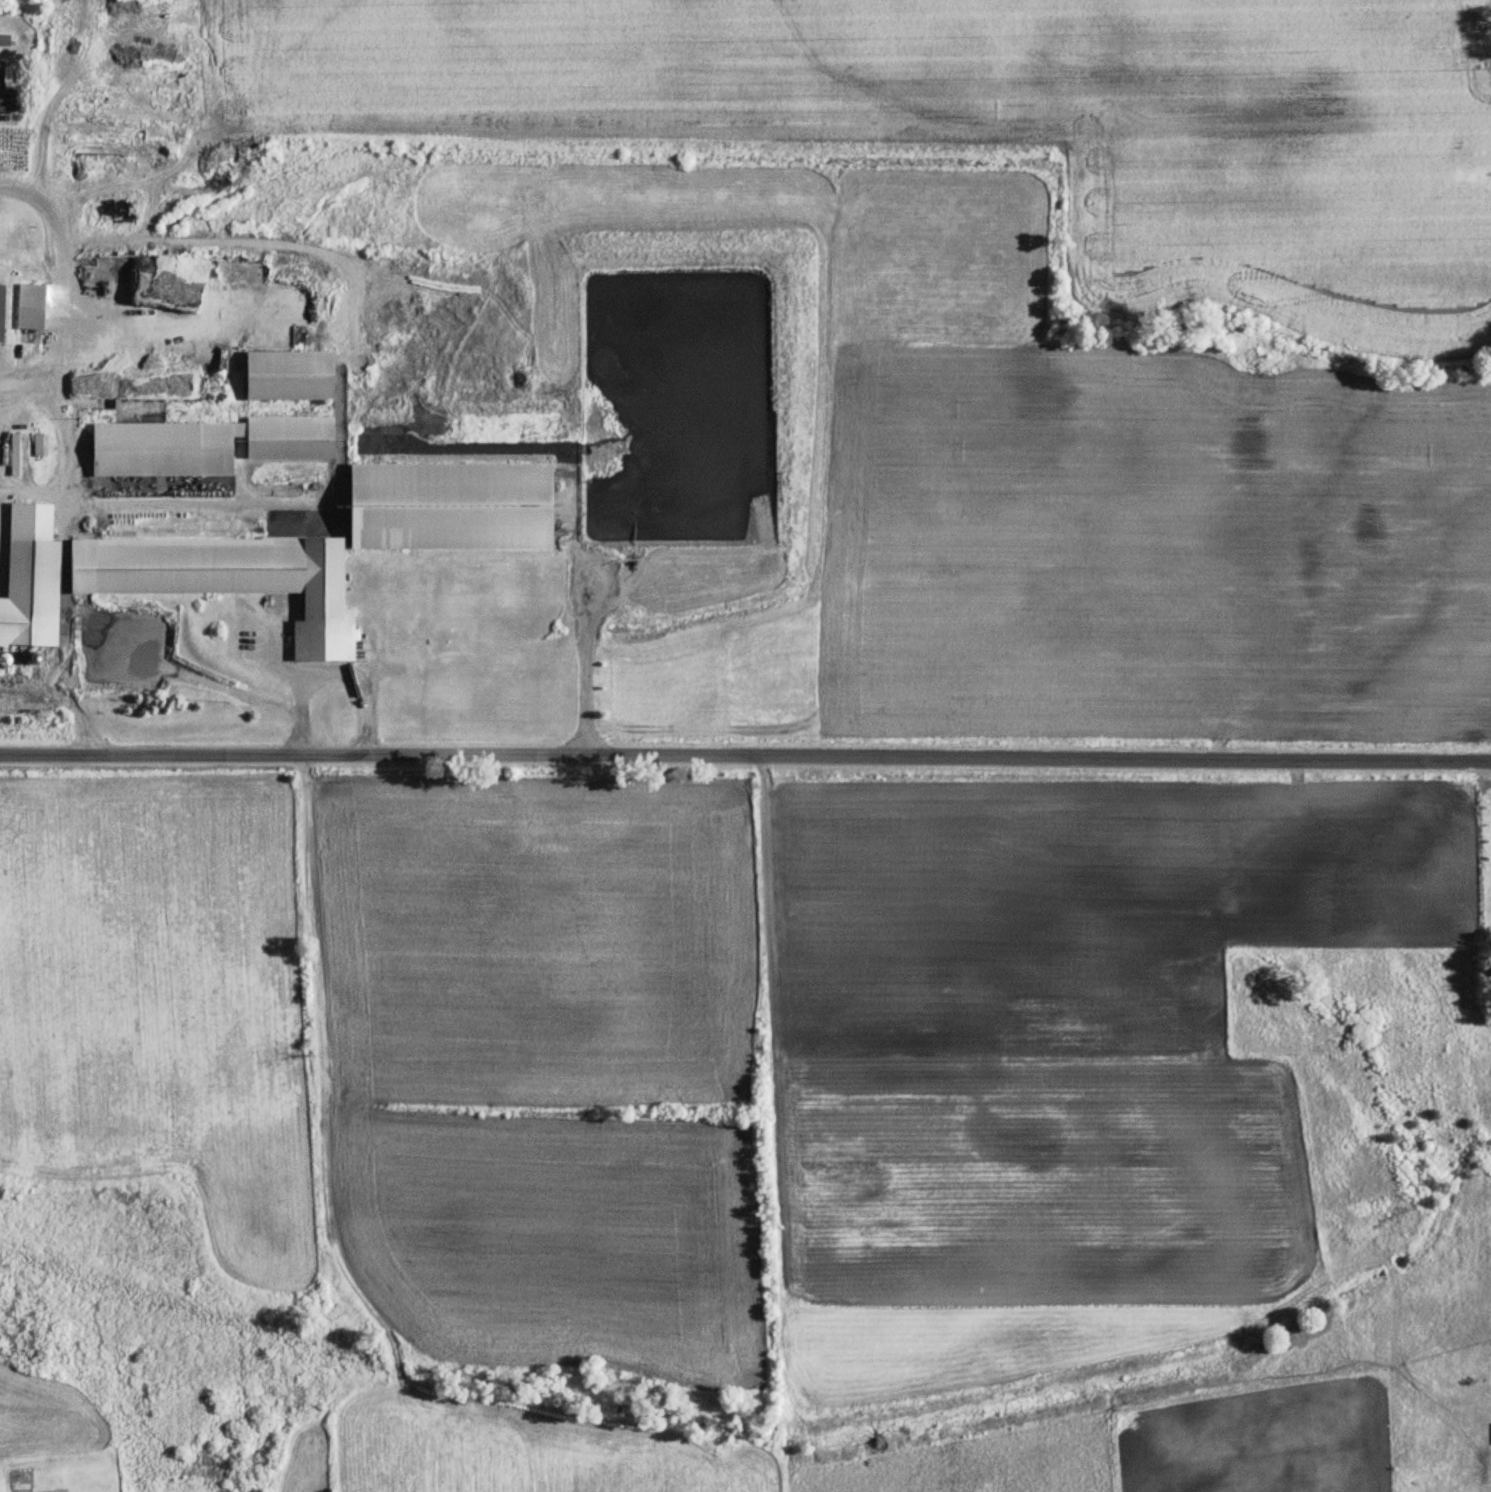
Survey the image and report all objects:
building: (2, 76)
road: (60, 281)
building: (32, 318)
building: (39, 445)
building: (202, 446)
building: (16, 454)
building: (454, 506)
building: (242, 579)
building: (30, 586)
road: (582, 630)
road: (334, 669)
road: (745, 759)

